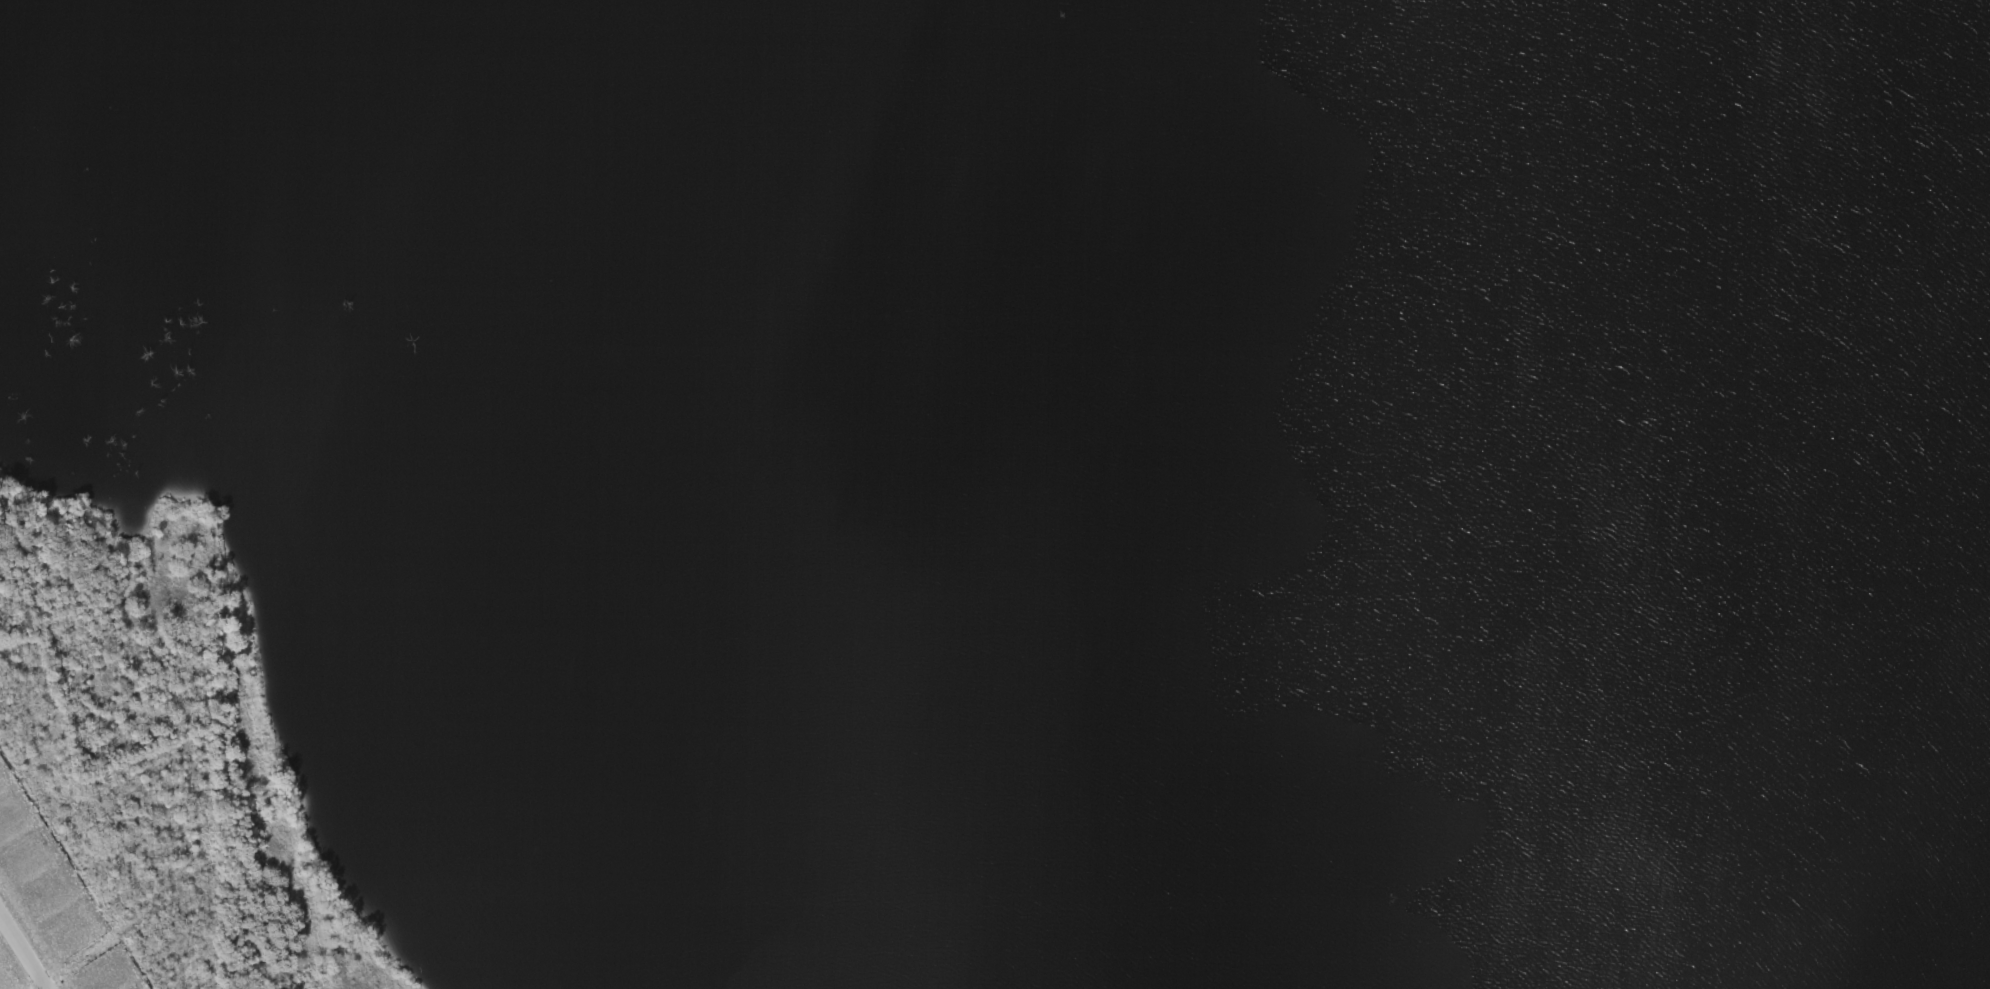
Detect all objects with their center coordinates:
building: (574, 323)
building: (430, 390)
building: (383, 418)
building: (970, 439)
road: (23, 951)

